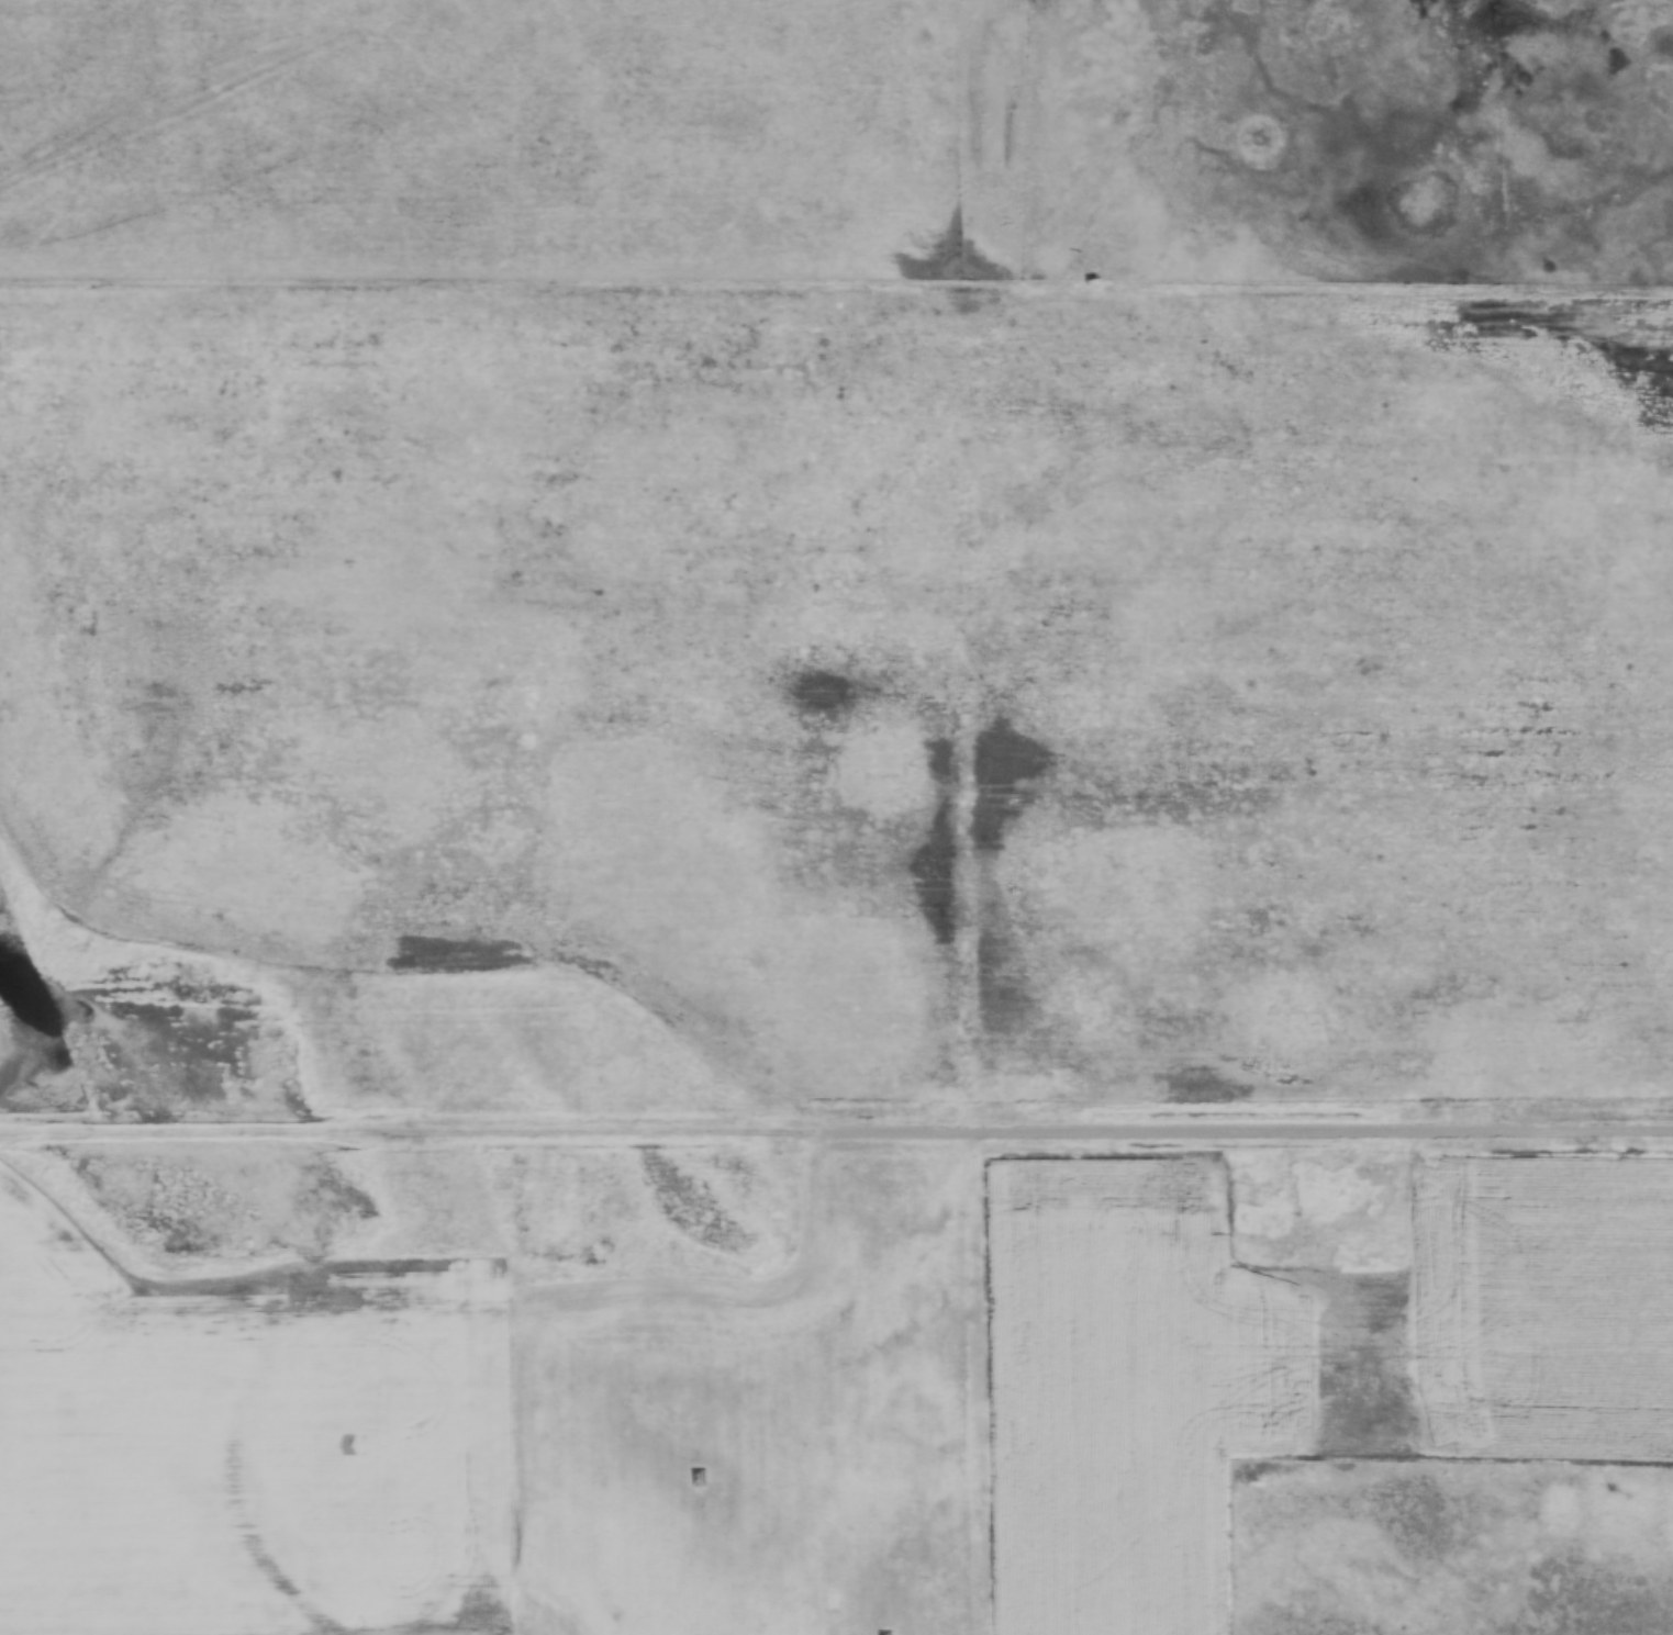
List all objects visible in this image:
road: (836, 1138)

